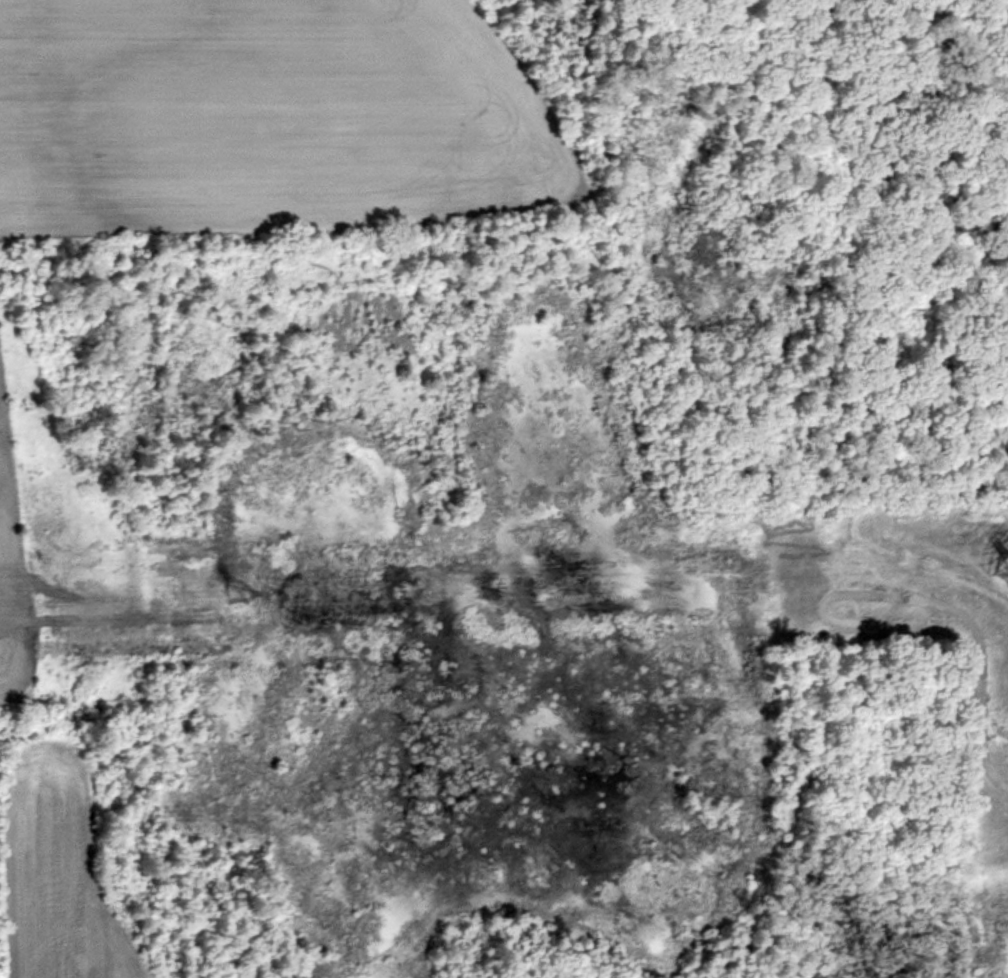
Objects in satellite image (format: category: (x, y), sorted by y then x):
power tower: (242, 593)

